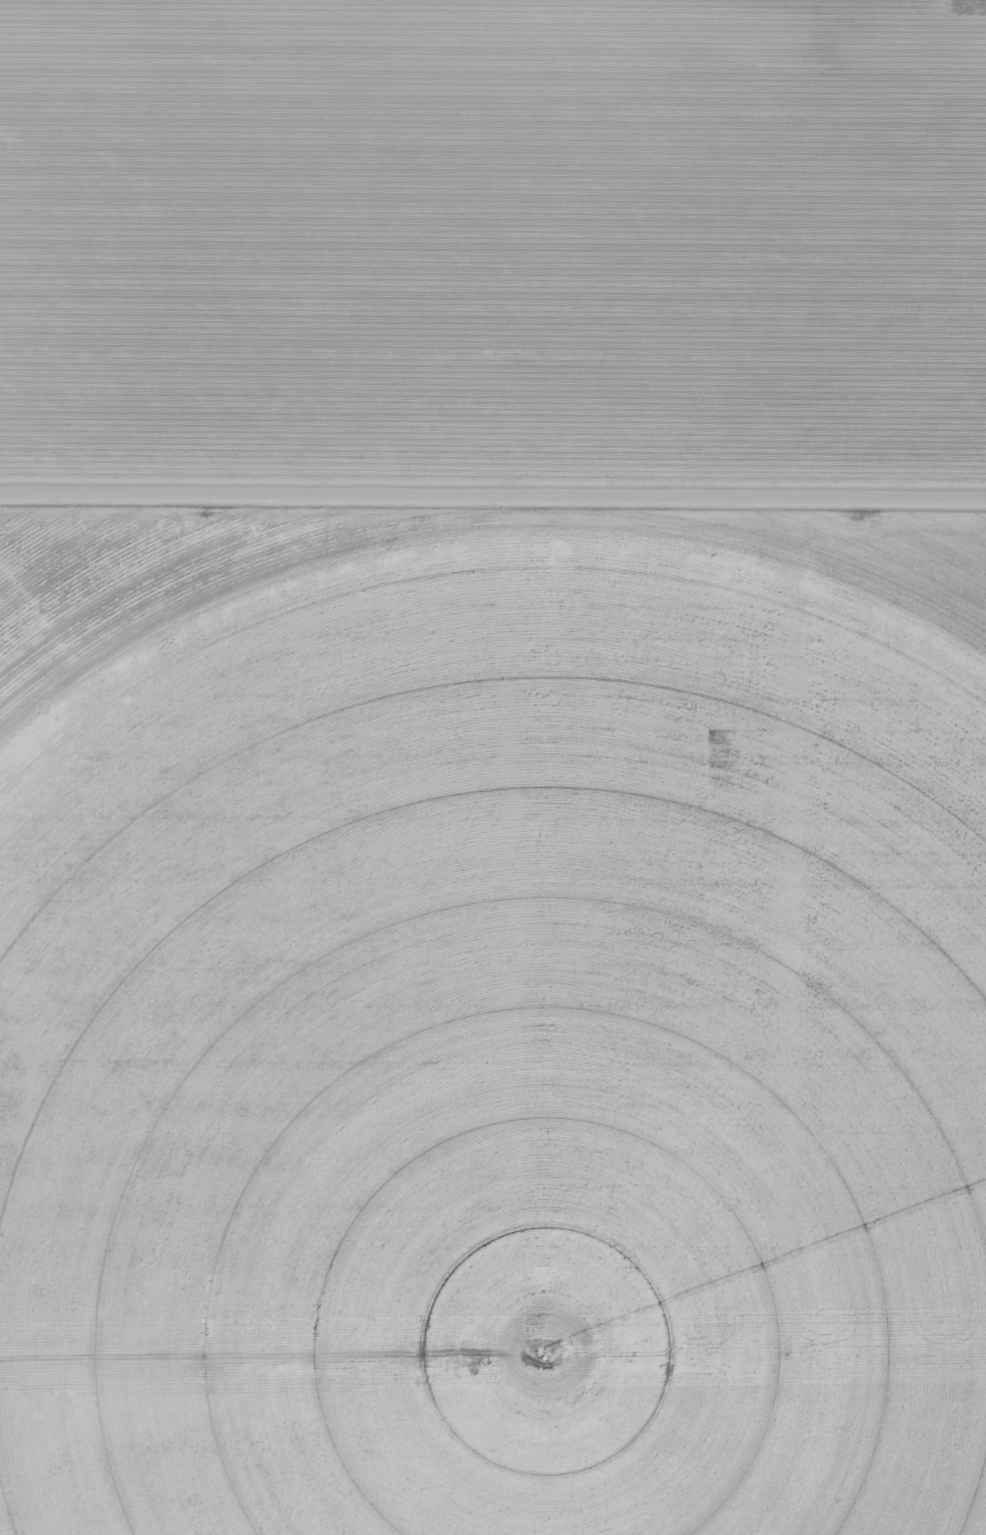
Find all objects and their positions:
road: (493, 499)

